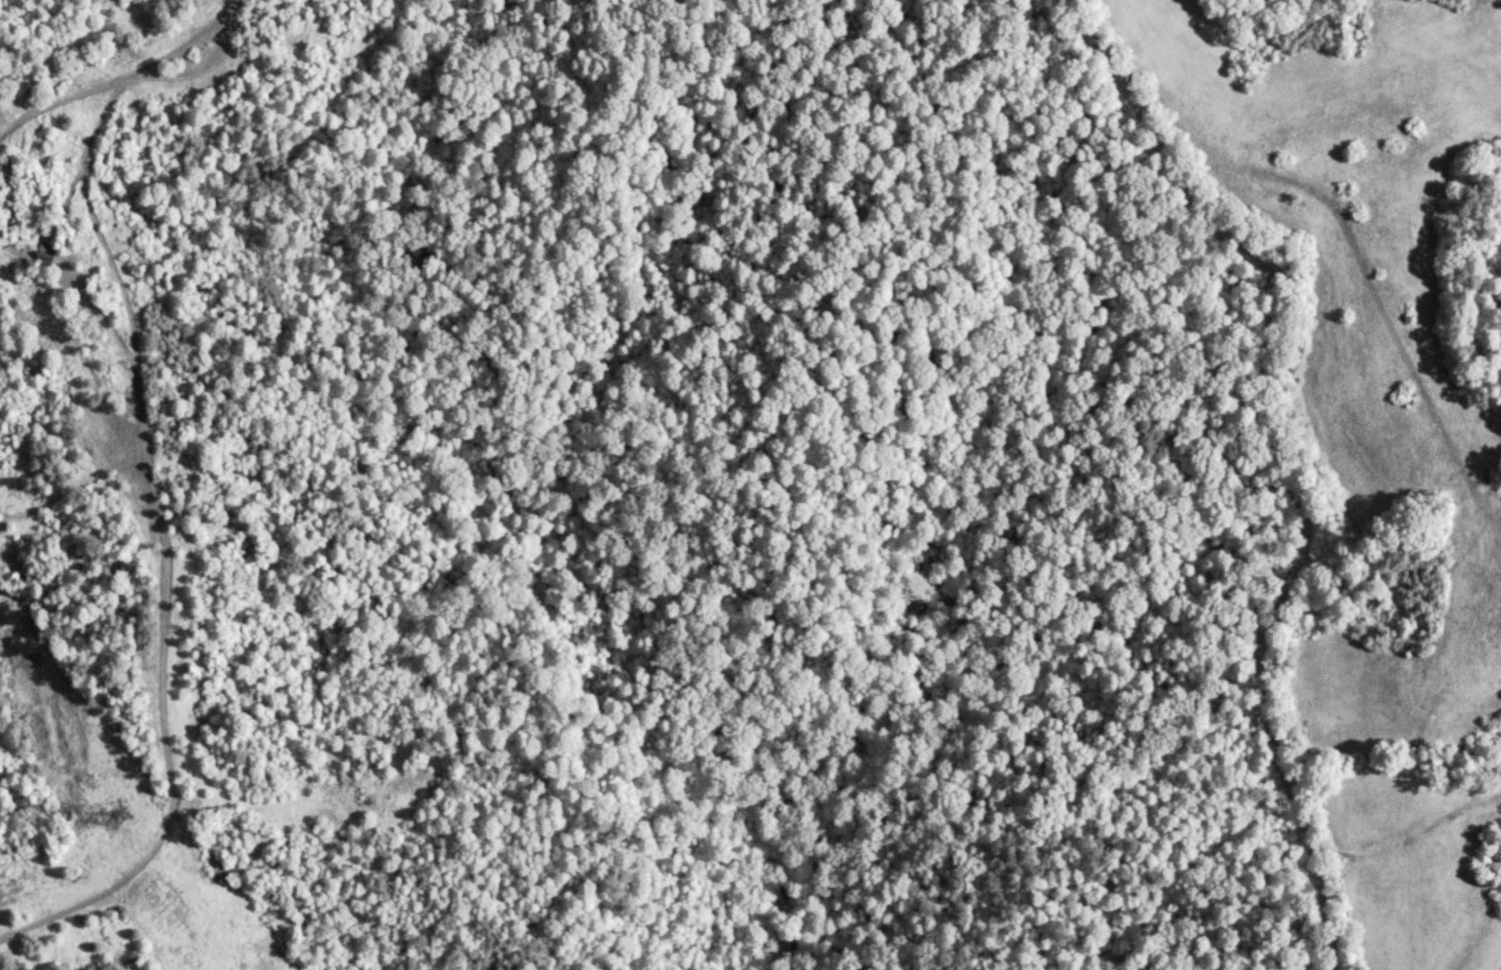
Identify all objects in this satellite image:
road: (1254, 456)

